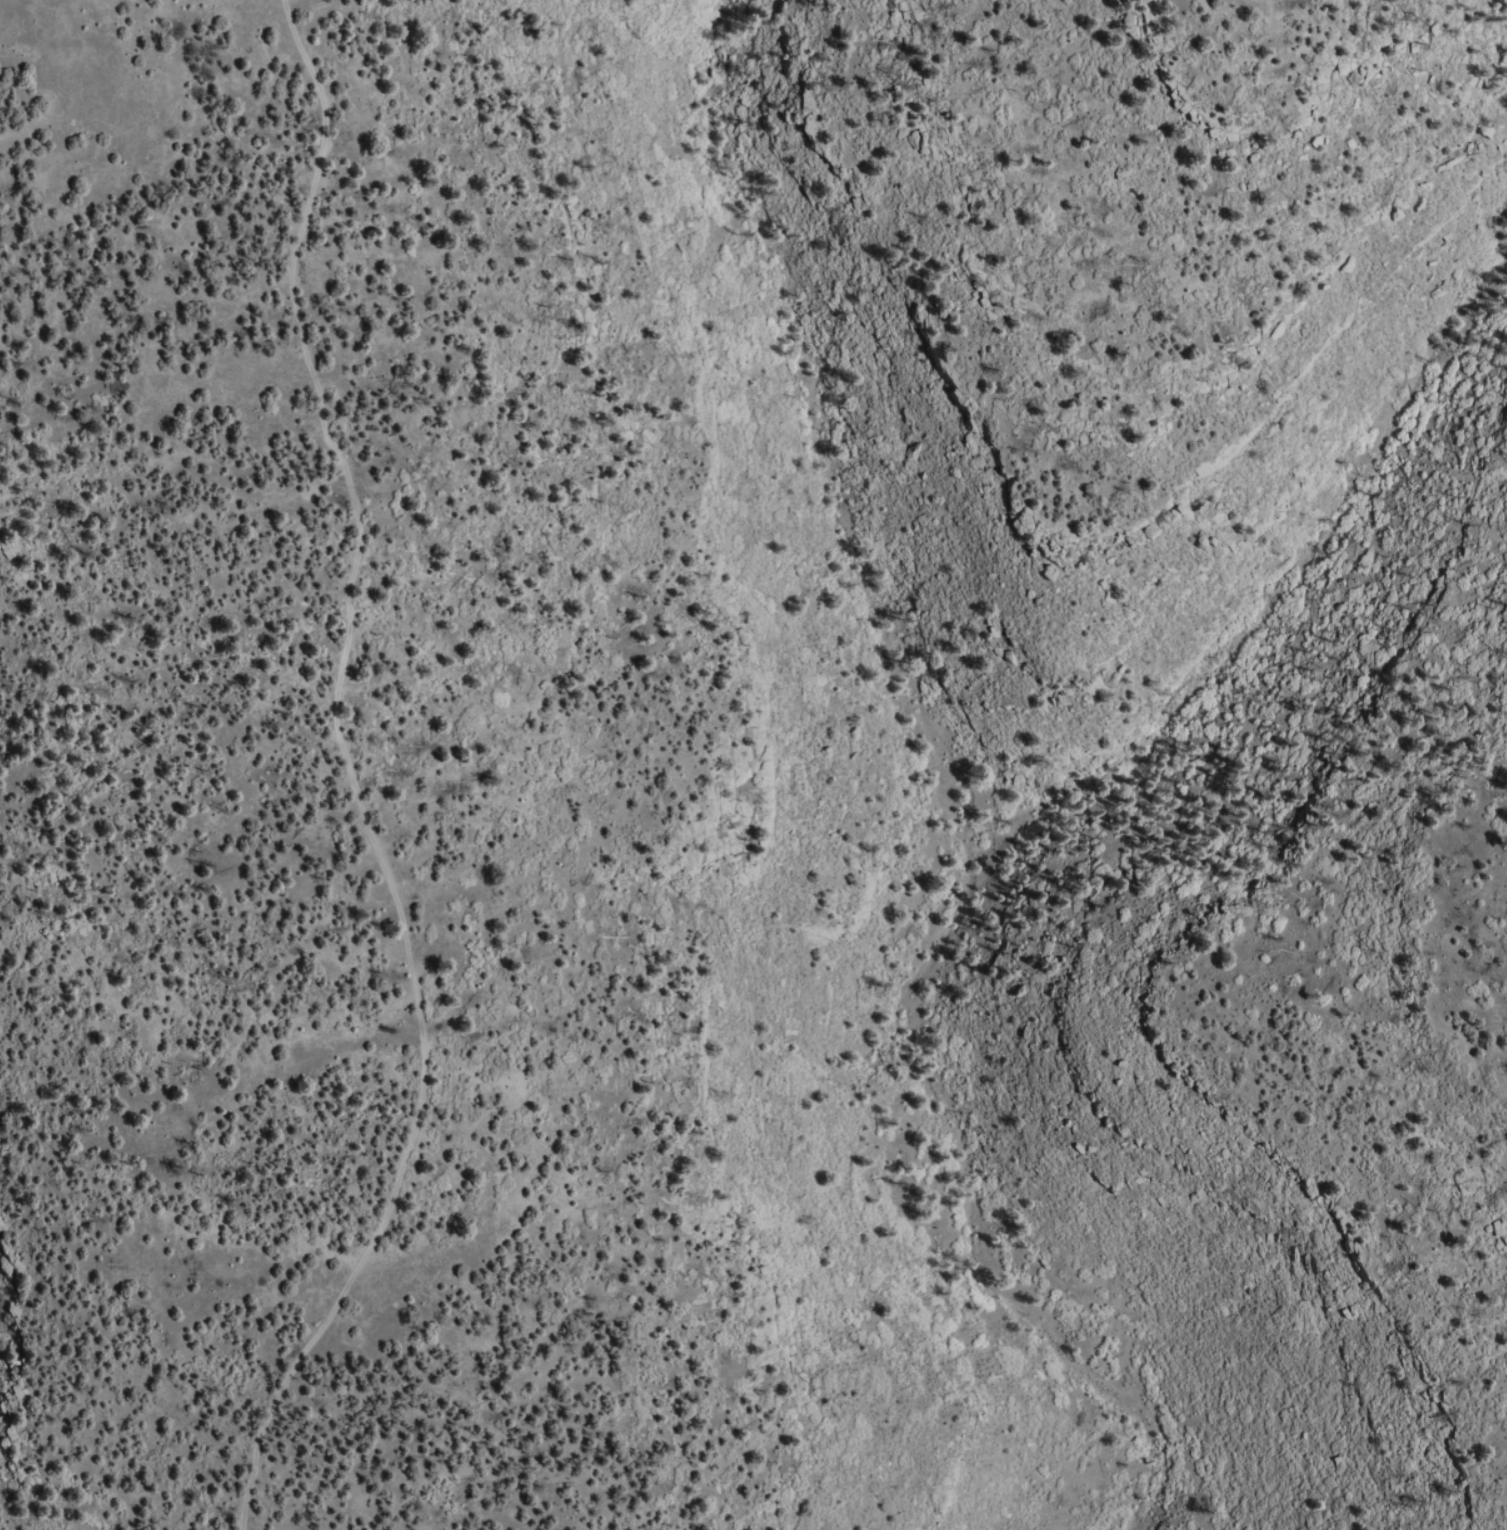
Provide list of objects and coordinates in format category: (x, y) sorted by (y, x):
road: (352, 778)

